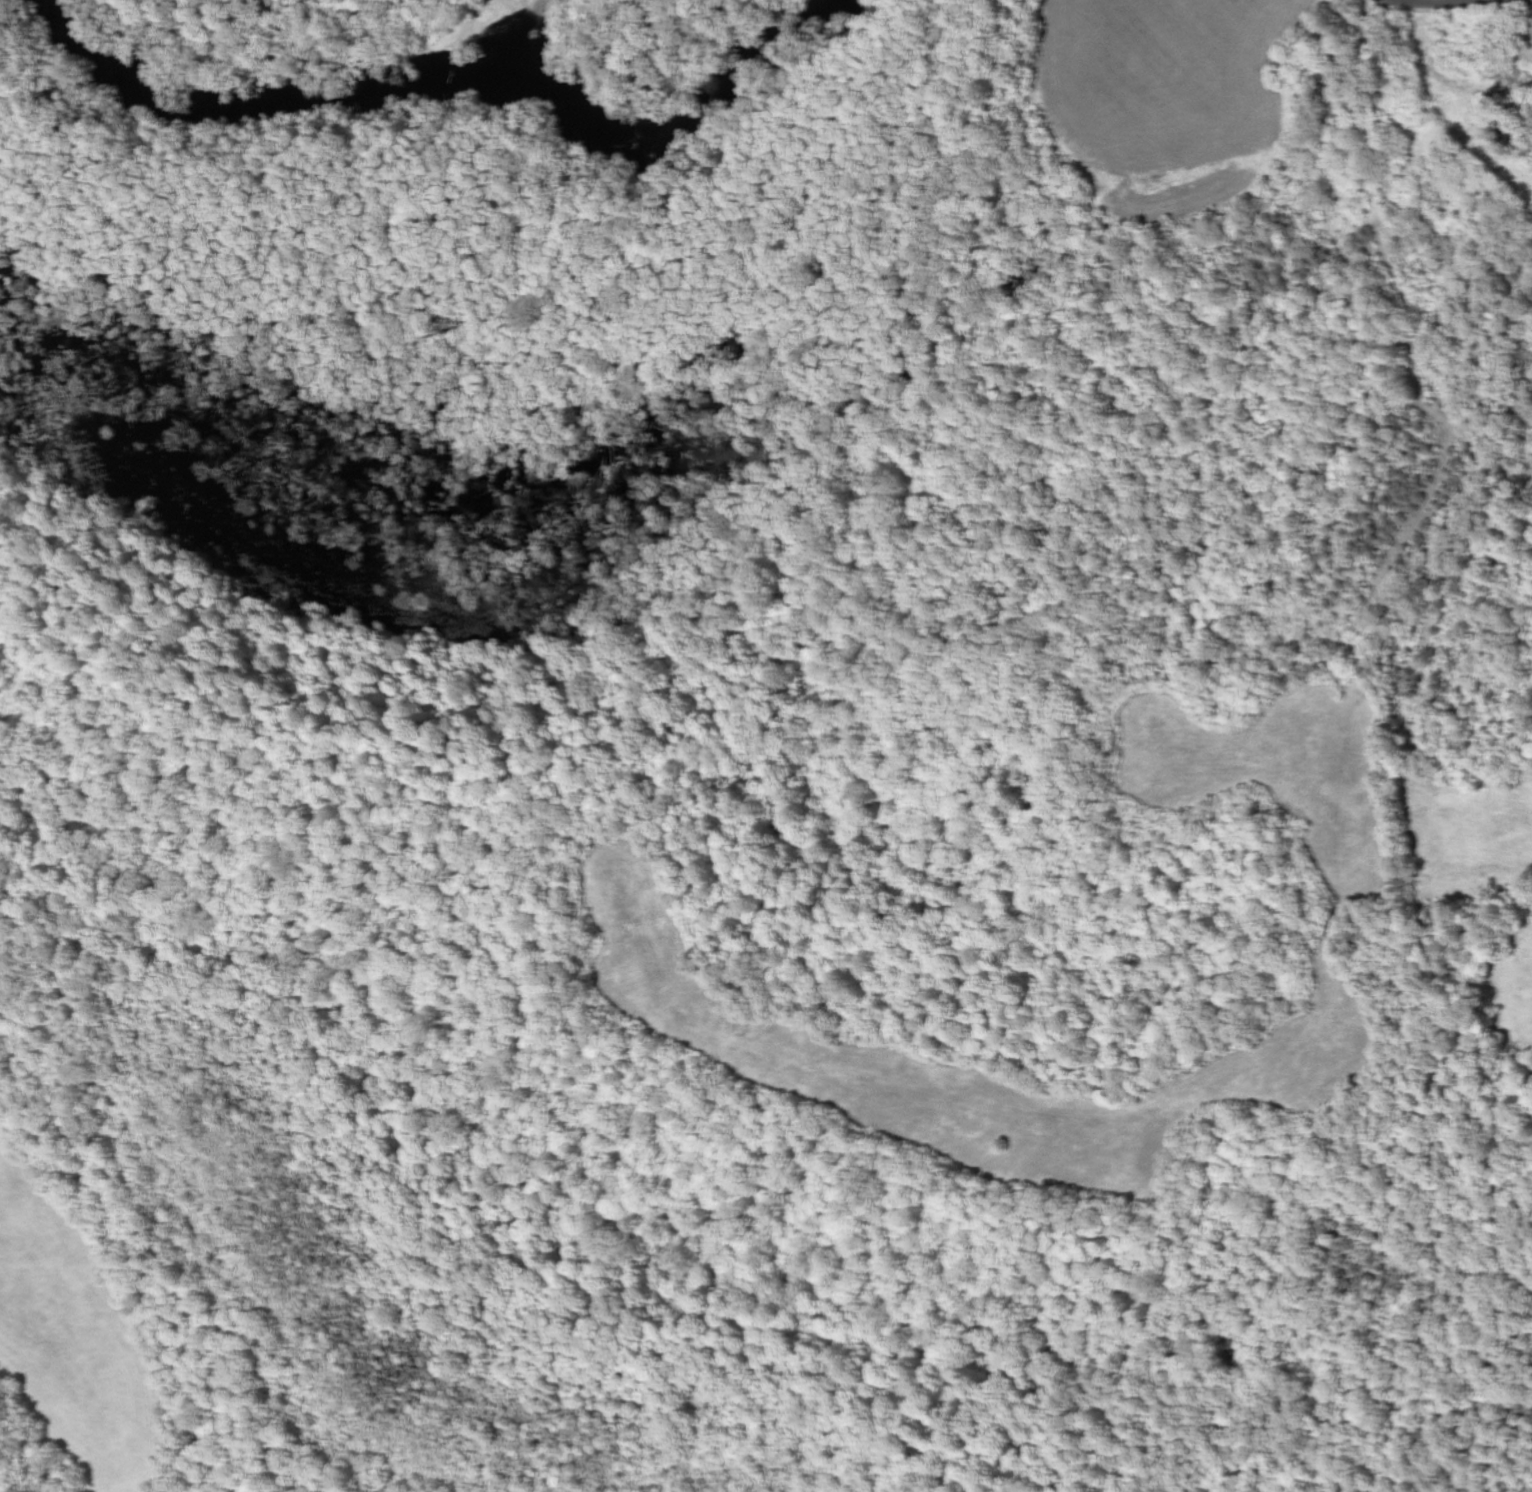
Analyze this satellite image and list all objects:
road: (1467, 1)
road: (534, 11)
river: (448, 81)

